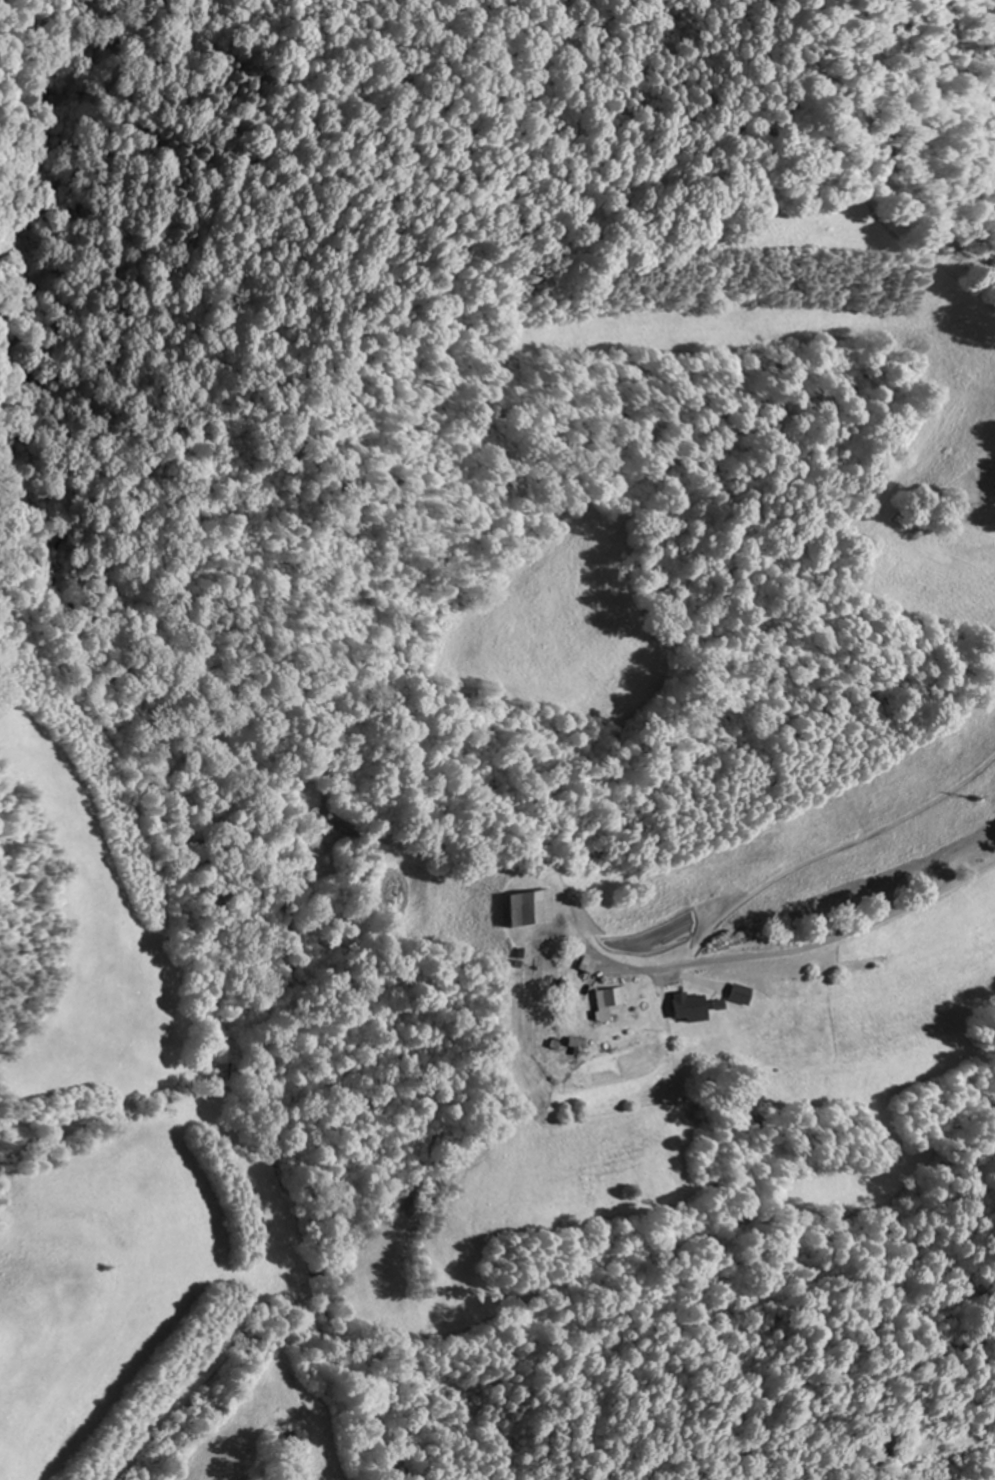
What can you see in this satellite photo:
building: (525, 908)
road: (831, 946)
building: (587, 965)
building: (746, 995)
building: (609, 1002)
building: (693, 1008)
building: (578, 1044)

